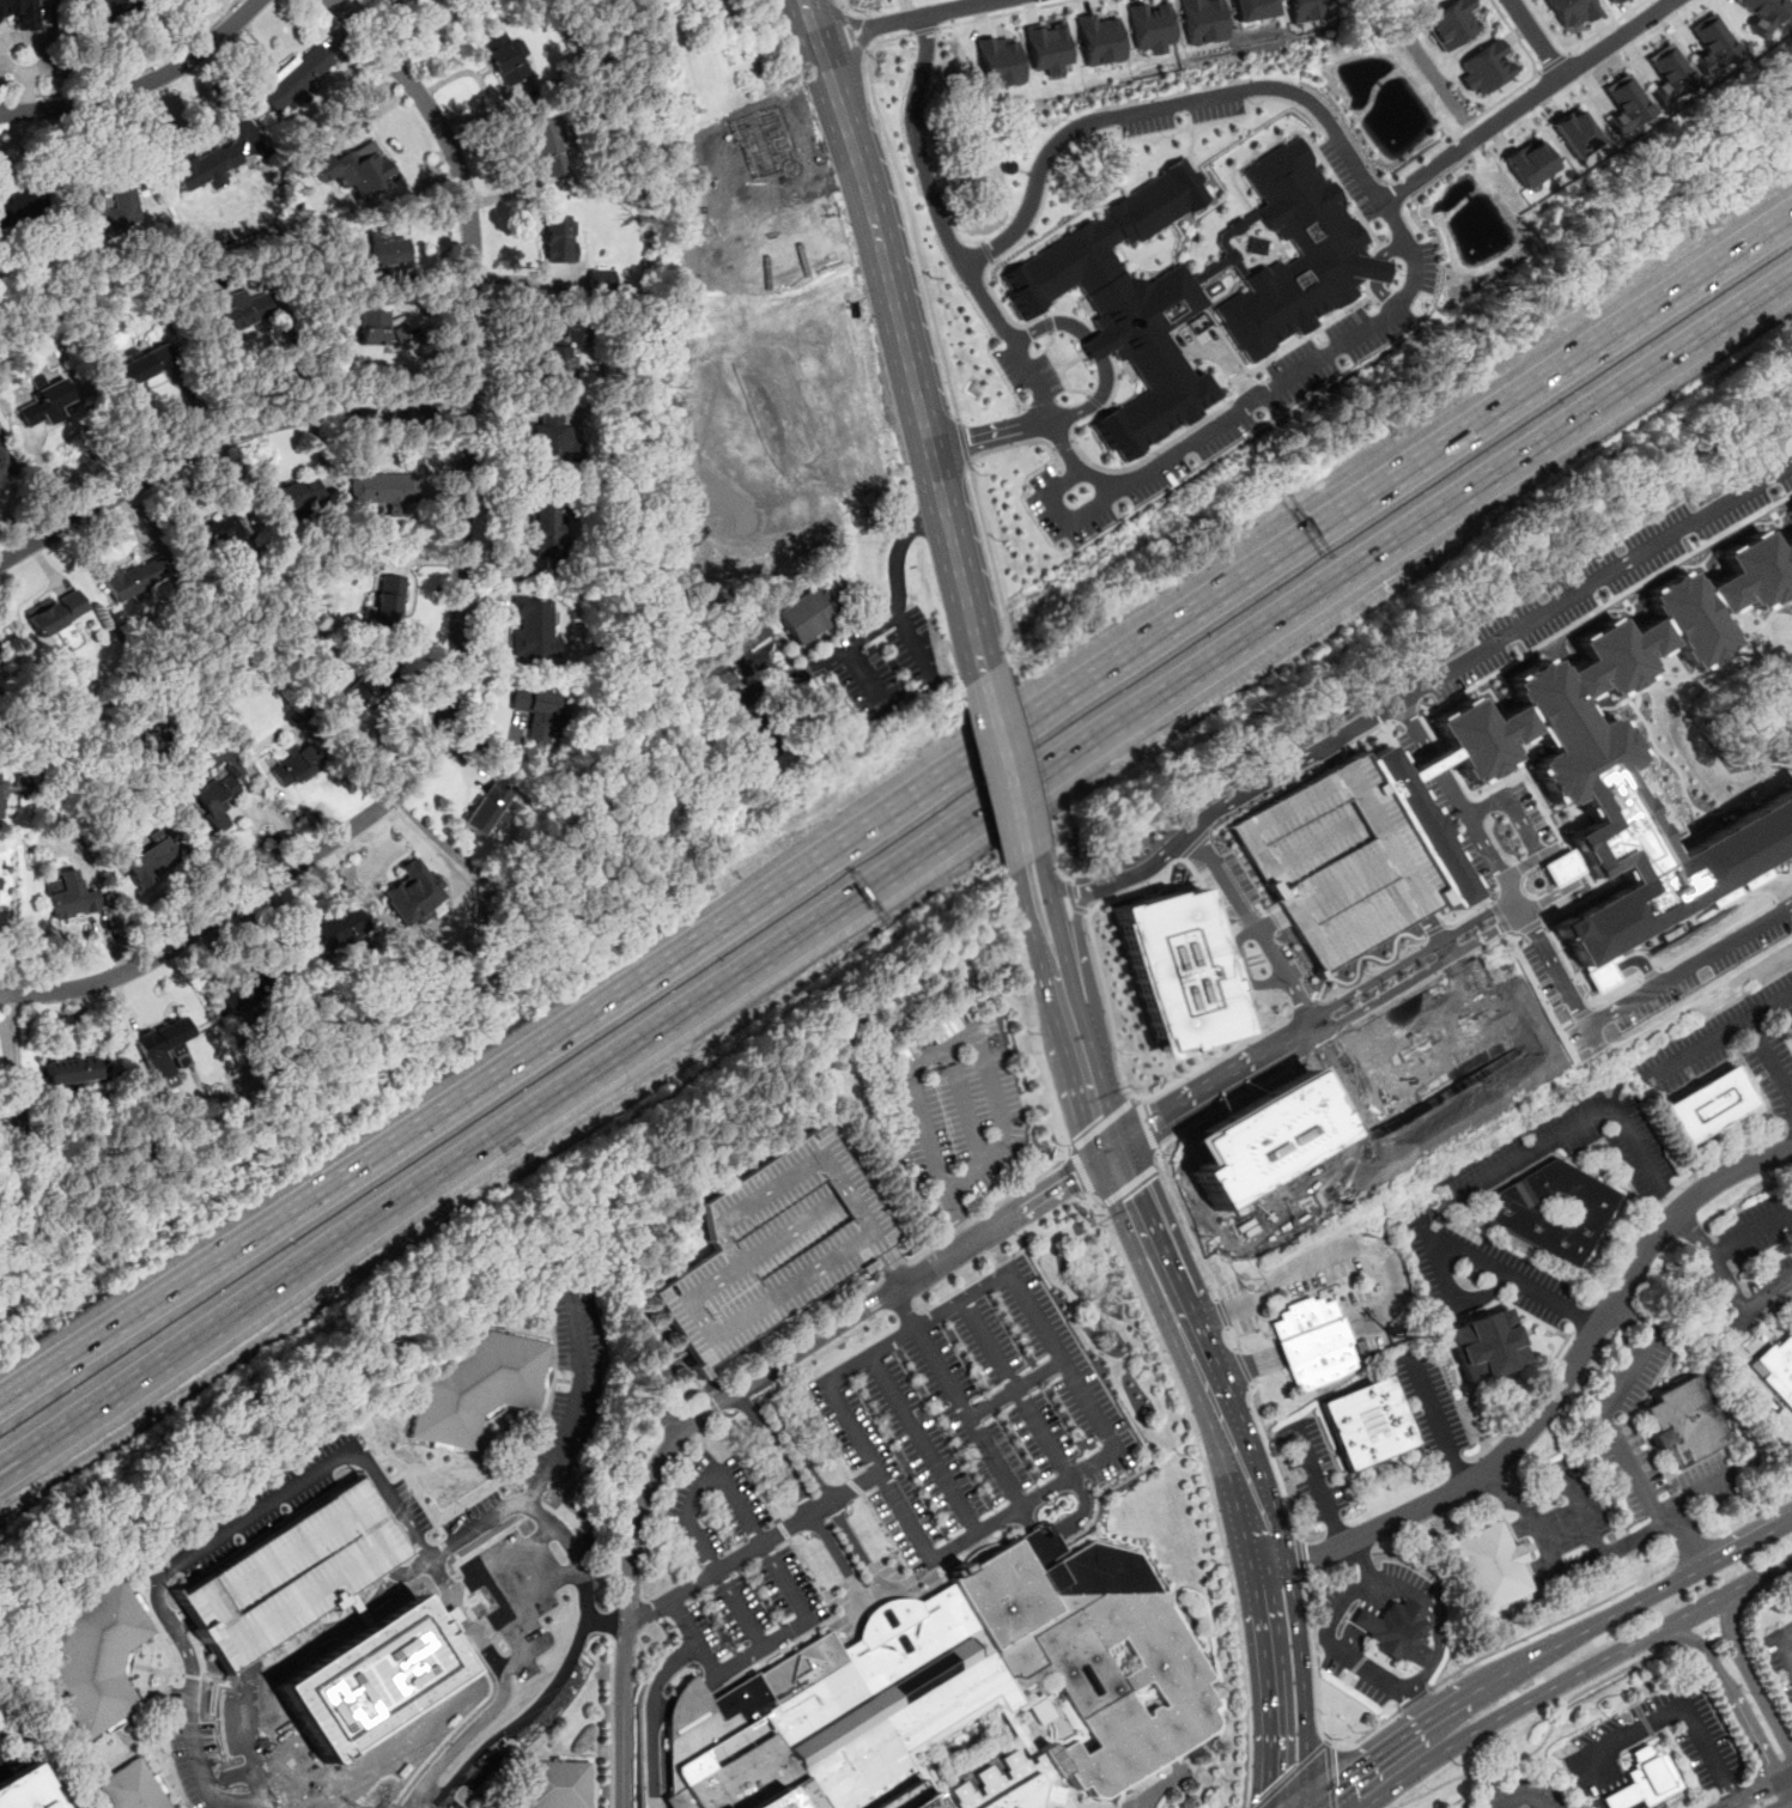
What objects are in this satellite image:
building: (711, 6)
road: (843, 6)
building: (1255, 8)
building: (1307, 10)
building: (1571, 12)
building: (19, 13)
road: (1004, 13)
building: (1762, 13)
road: (909, 19)
building: (1204, 20)
road: (810, 22)
building: (1452, 23)
building: (1152, 26)
road: (1605, 26)
road: (924, 29)
road: (852, 35)
road: (1537, 37)
road: (887, 38)
building: (1100, 40)
road: (40, 43)
building: (1712, 43)
building: (1049, 48)
building: (503, 57)
building: (1000, 62)
road: (1554, 62)
building: (1487, 67)
road: (13, 71)
road: (1537, 73)
road: (129, 74)
building: (1669, 74)
building: (296, 78)
road: (141, 85)
road: (28, 97)
road: (1526, 101)
road: (1495, 103)
building: (1626, 104)
road: (1108, 116)
building: (1577, 133)
road: (918, 145)
road: (1189, 145)
building: (546, 146)
road: (928, 146)
building: (1530, 163)
building: (207, 168)
building: (356, 168)
building: (22, 207)
building: (110, 208)
building: (557, 238)
road: (915, 238)
road: (1020, 241)
building: (387, 250)
road: (986, 251)
building: (1290, 253)
building: (609, 280)
building: (1126, 307)
building: (241, 313)
road: (1331, 318)
road: (1047, 322)
building: (376, 329)
road: (1347, 339)
road: (1095, 348)
road: (907, 358)
building: (557, 364)
building: (145, 366)
road: (1058, 369)
road: (1240, 376)
road: (1094, 401)
building: (45, 405)
road: (991, 432)
building: (547, 436)
road: (218, 438)
road: (964, 442)
road: (1023, 443)
road: (1062, 444)
road: (1174, 453)
building: (4, 472)
building: (381, 490)
building: (294, 496)
building: (1791, 505)
road: (1064, 520)
building: (547, 529)
building: (214, 535)
road: (895, 548)
road: (992, 560)
building: (135, 578)
road: (1591, 581)
building: (381, 608)
road: (458, 608)
building: (56, 612)
building: (807, 613)
building: (533, 627)
building: (742, 638)
road: (785, 675)
road: (930, 680)
building: (358, 693)
road: (1067, 700)
road: (730, 710)
building: (536, 712)
building: (1583, 750)
road: (1029, 758)
building: (299, 763)
road: (1007, 772)
building: (2, 777)
building: (214, 799)
building: (486, 806)
road: (1215, 808)
road: (1515, 824)
building: (1413, 826)
building: (148, 860)
building: (1331, 863)
parking garage: (1331, 863)
road: (894, 866)
road: (1059, 873)
road: (1033, 885)
building: (414, 892)
building: (68, 893)
road: (1073, 900)
road: (1511, 906)
road: (1462, 911)
road: (1264, 921)
road: (1427, 926)
road: (1430, 929)
building: (324, 939)
road: (1439, 948)
road: (1360, 955)
road: (1547, 963)
road: (1240, 970)
building: (1176, 971)
road: (1101, 975)
road: (1231, 977)
building: (1541, 981)
building: (242, 995)
road: (1299, 1007)
road: (1304, 1026)
building: (1791, 1026)
road: (1718, 1033)
building: (162, 1045)
road: (1214, 1057)
road: (1768, 1060)
building: (69, 1069)
road: (1229, 1104)
building: (1707, 1104)
road: (1791, 1104)
road: (961, 1105)
traffic signals: (1097, 1118)
road: (1586, 1118)
road: (1100, 1124)
road: (1146, 1126)
road: (1787, 1131)
building: (1258, 1139)
road: (997, 1143)
road: (1080, 1172)
road: (1624, 1176)
traffic signals: (1075, 1177)
power tower: (1422, 1177)
road: (1025, 1184)
road: (1128, 1184)
road: (1665, 1196)
traffic signals: (1129, 1197)
building: (1550, 1211)
road: (958, 1218)
road: (961, 1225)
road: (1186, 1226)
road: (1695, 1232)
road: (1751, 1234)
road: (1146, 1238)
building: (771, 1245)
parking garage: (771, 1245)
road: (1463, 1246)
road: (927, 1248)
road: (1307, 1263)
road: (889, 1268)
road: (171, 1293)
road: (1743, 1308)
road: (903, 1311)
road: (1221, 1313)
road: (1531, 1317)
road: (1579, 1317)
road: (1231, 1339)
building: (1312, 1341)
building: (1483, 1341)
road: (1243, 1367)
building: (1779, 1369)
building: (475, 1385)
road: (797, 1385)
road: (649, 1387)
road: (1535, 1389)
road: (1557, 1389)
road: (1014, 1390)
road: (1016, 1391)
road: (729, 1395)
road: (712, 1403)
road: (968, 1418)
road: (1436, 1418)
building: (1679, 1421)
building: (1367, 1422)
road: (1617, 1444)
road: (923, 1445)
road: (1116, 1450)
road: (773, 1454)
road: (1270, 1458)
road: (548, 1468)
road: (745, 1468)
road: (819, 1484)
road: (1118, 1484)
road: (1316, 1485)
road: (854, 1486)
road: (1207, 1492)
road: (1749, 1515)
road: (885, 1531)
road: (1632, 1536)
road: (757, 1539)
road: (1688, 1540)
road: (1691, 1548)
road: (754, 1549)
road: (1298, 1558)
road: (838, 1559)
road: (1577, 1563)
road: (1353, 1565)
building: (1488, 1567)
road: (672, 1583)
road: (1391, 1583)
road: (1760, 1592)
road: (1725, 1594)
road: (627, 1604)
road: (1334, 1615)
road: (497, 1616)
road: (1367, 1616)
road: (605, 1619)
road: (609, 1622)
road: (899, 1624)
road: (1550, 1624)
building: (1393, 1630)
power tower: (675, 1637)
road: (1782, 1642)
road: (1438, 1643)
road: (524, 1654)
road: (1542, 1655)
building: (99, 1656)
road: (1377, 1669)
road: (1648, 1679)
building: (371, 1680)
road: (1752, 1682)
road: (1302, 1683)
road: (1266, 1687)
road: (1731, 1695)
road: (1414, 1699)
building: (960, 1700)
road: (1316, 1704)
road: (1417, 1704)
road: (1678, 1704)
road: (527, 1715)
road: (1506, 1715)
road: (1642, 1717)
road: (609, 1719)
road: (1545, 1735)
road: (1326, 1742)
road: (452, 1749)
parking lot: (2, 1753)
parking lot: (1656, 1753)
road: (2, 1772)
road: (1289, 1774)
road: (1329, 1776)
road: (1791, 1777)
road: (1606, 1779)
building: (1644, 1779)
building: (553, 1783)
traffic signals: (1337, 1783)
traffic signals: (1269, 1786)
building: (127, 1788)
building: (28, 1789)
road: (435, 1790)
road: (1756, 1791)
parking lot: (1523, 1792)
road: (1524, 1795)
road: (441, 1802)
road: (450, 1802)
road: (1782, 1803)
road: (1736, 1804)

